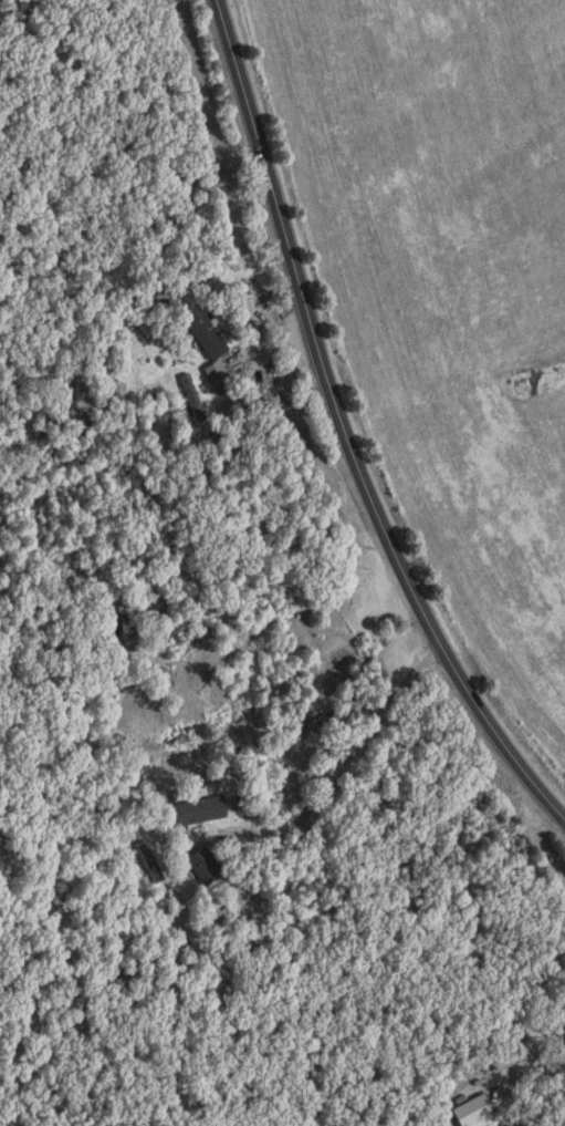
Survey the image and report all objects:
building: (219, 339)
road: (343, 432)
building: (210, 810)
building: (215, 866)
building: (485, 1110)

